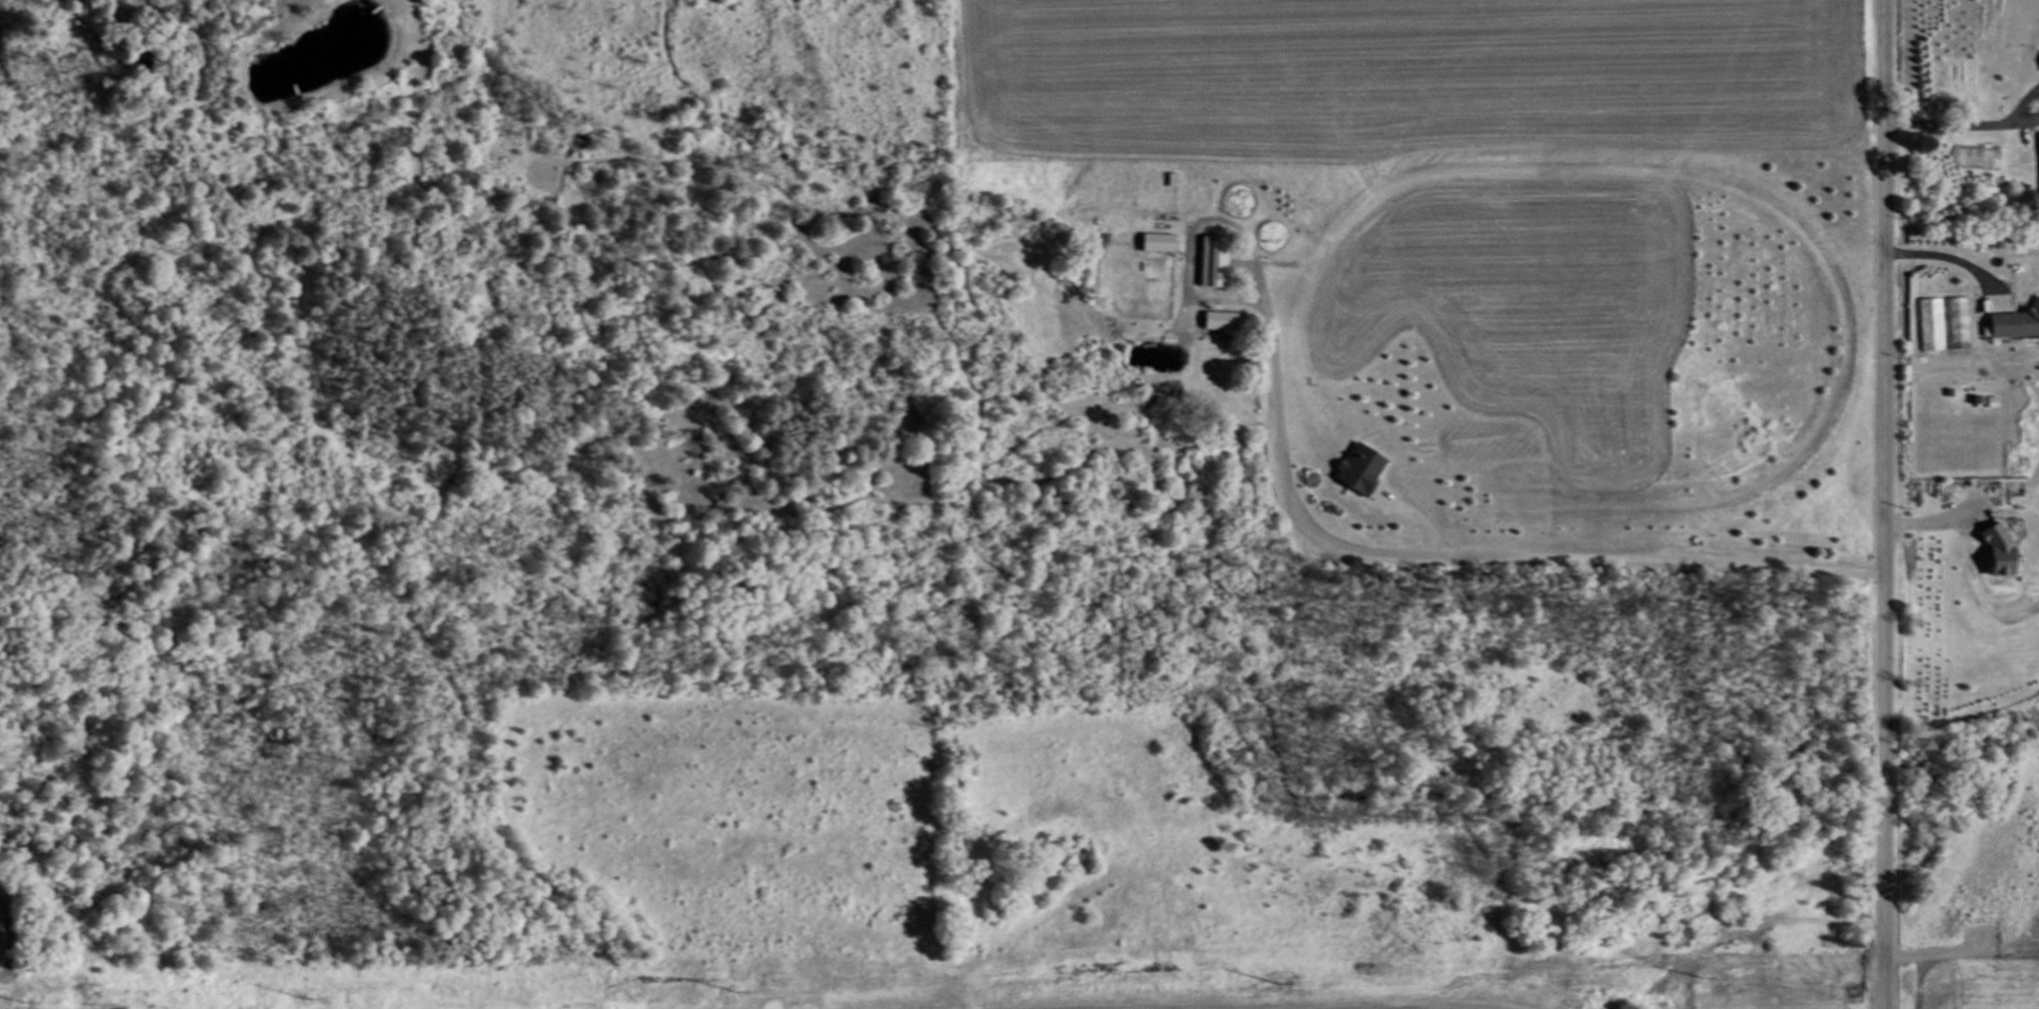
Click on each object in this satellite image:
road: (2023, 104)
road: (2025, 121)
road: (1949, 122)
building: (1157, 241)
building: (1213, 261)
building: (1219, 321)
building: (2014, 324)
road: (1886, 504)
building: (1994, 548)
road: (1441, 556)

